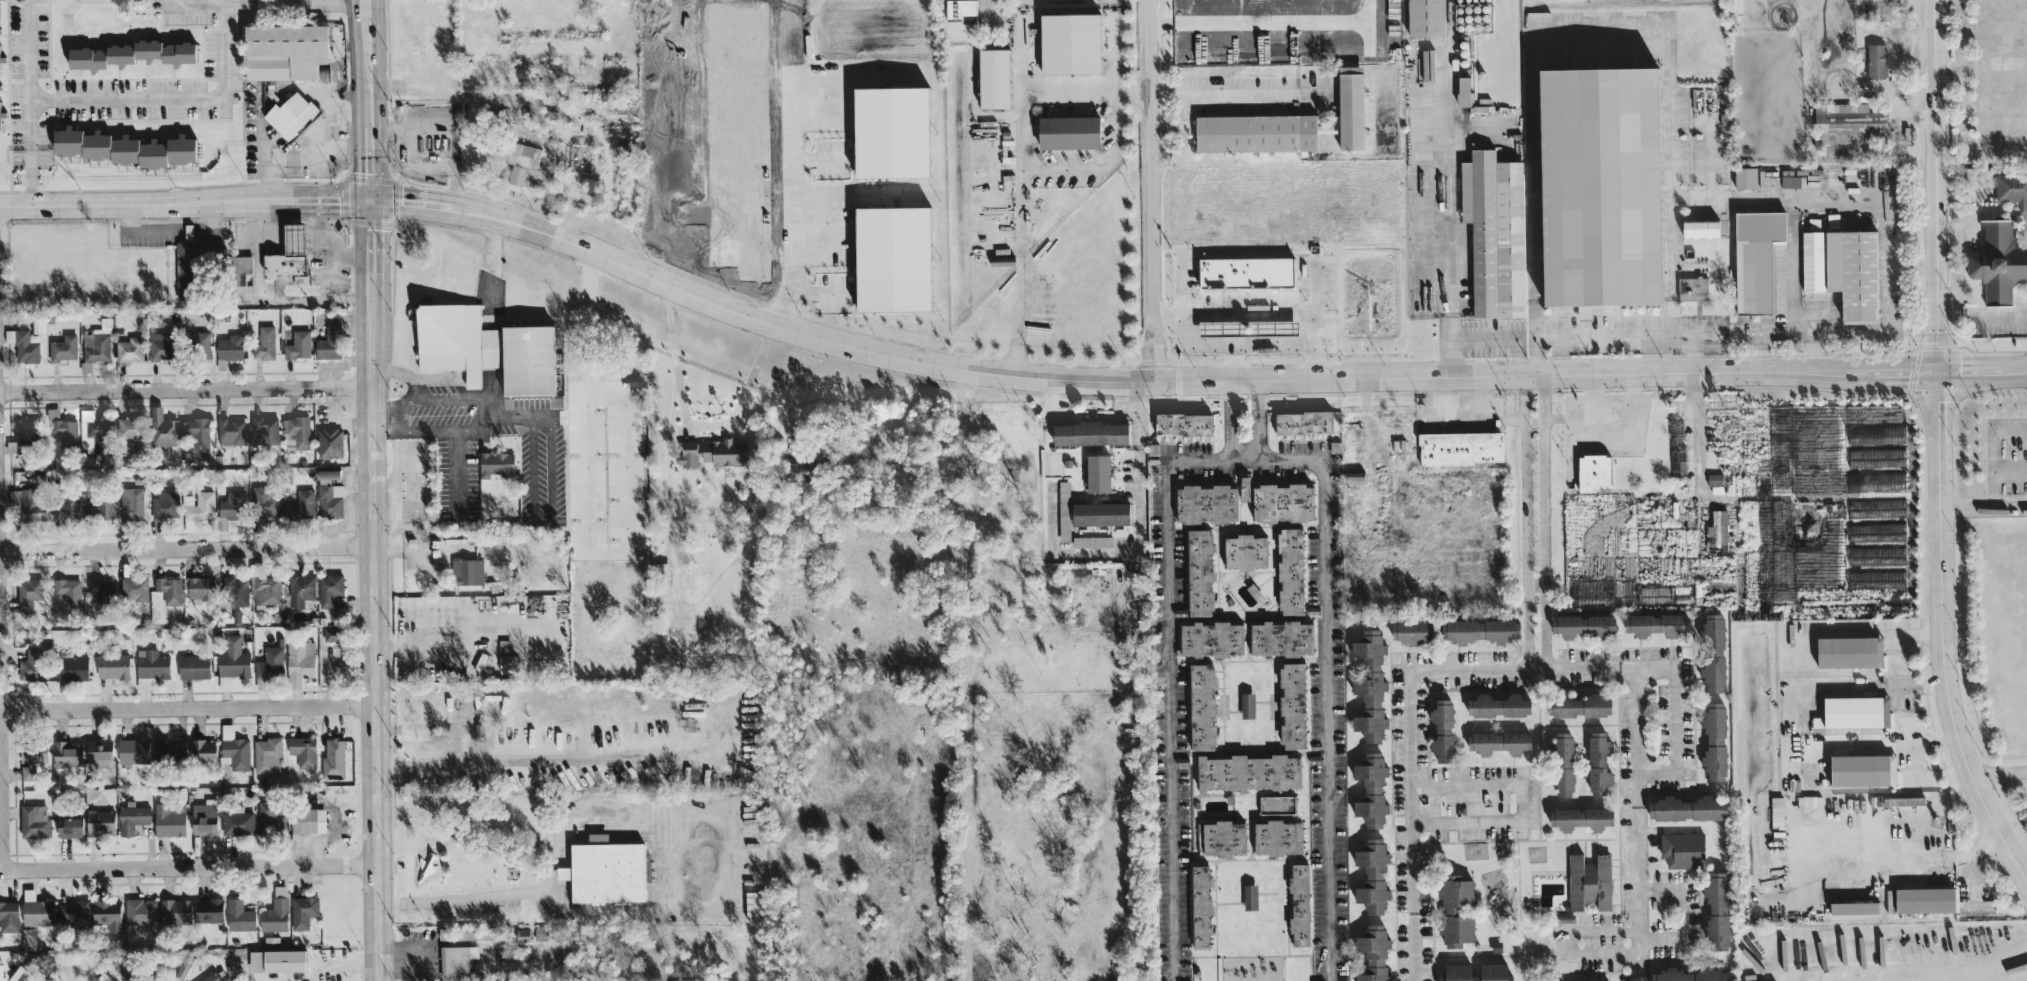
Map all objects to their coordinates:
building: (120, 2)
building: (1735, 7)
building: (959, 8)
building: (1880, 8)
road: (256, 9)
building: (1425, 17)
road: (1602, 34)
road: (1960, 34)
building: (1069, 42)
building: (283, 50)
building: (130, 53)
road: (354, 53)
road: (377, 53)
building: (1876, 60)
road: (1981, 67)
building: (0, 70)
building: (993, 77)
building: (1464, 90)
road: (1072, 93)
road: (1231, 94)
road: (1022, 98)
road: (29, 101)
road: (172, 104)
road: (1995, 106)
building: (1351, 107)
building: (291, 115)
road: (367, 115)
building: (1848, 123)
road: (317, 130)
building: (890, 131)
building: (1067, 131)
building: (1255, 132)
road: (1997, 145)
building: (122, 147)
road: (1968, 147)
building: (520, 160)
road: (265, 161)
road: (368, 162)
road: (1105, 166)
building: (1745, 176)
road: (1937, 184)
building: (1599, 185)
building: (2012, 188)
road: (1151, 190)
road: (324, 199)
traffic signals: (369, 199)
road: (140, 201)
road: (409, 202)
road: (792, 204)
road: (1821, 204)
building: (1700, 228)
road: (140, 230)
building: (1495, 231)
road: (369, 235)
road: (326, 241)
building: (289, 255)
building: (891, 258)
building: (1756, 258)
building: (1812, 260)
road: (492, 263)
building: (1998, 263)
building: (238, 269)
road: (322, 269)
building: (1244, 271)
building: (1853, 271)
building: (1692, 287)
road: (266, 295)
road: (1263, 315)
road: (1998, 315)
building: (38, 325)
road: (1484, 331)
road: (1821, 333)
road: (1616, 334)
building: (96, 342)
building: (199, 343)
building: (264, 343)
building: (328, 343)
building: (22, 345)
building: (159, 345)
building: (298, 345)
building: (229, 347)
building: (63, 348)
building: (484, 348)
building: (128, 349)
road: (402, 372)
road: (1224, 380)
road: (589, 381)
road: (1440, 382)
road: (185, 386)
road: (790, 391)
road: (490, 413)
road: (380, 416)
road: (1229, 418)
road: (1257, 418)
building: (1302, 421)
road: (725, 423)
building: (1183, 423)
road: (1704, 427)
building: (61, 428)
building: (128, 428)
building: (162, 428)
building: (230, 430)
building: (263, 430)
building: (196, 431)
building: (91, 432)
building: (296, 433)
building: (1089, 433)
building: (24, 434)
building: (329, 441)
building: (1460, 448)
building: (723, 451)
road: (1993, 452)
building: (686, 454)
road: (661, 458)
building: (495, 463)
road: (458, 466)
building: (791, 467)
building: (1593, 470)
building: (1097, 473)
building: (1244, 488)
road: (1994, 490)
building: (329, 494)
building: (1281, 501)
building: (265, 502)
building: (131, 503)
building: (1205, 503)
building: (27, 504)
building: (164, 505)
building: (232, 505)
building: (301, 505)
road: (2010, 505)
road: (1968, 506)
building: (66, 507)
building: (100, 508)
building: (197, 508)
building: (1063, 510)
building: (1099, 513)
road: (1539, 522)
road: (1139, 532)
building: (1716, 534)
road: (626, 541)
building: (1091, 541)
road: (186, 546)
building: (1244, 551)
building: (1290, 570)
building: (467, 571)
building: (1199, 572)
building: (661, 574)
building: (99, 588)
building: (134, 588)
building: (198, 588)
building: (68, 589)
building: (169, 589)
building: (329, 589)
building: (236, 590)
building: (266, 590)
building: (301, 590)
building: (29, 595)
building: (1657, 624)
building: (1583, 625)
road: (374, 626)
building: (1480, 630)
building: (1411, 631)
road: (1944, 632)
building: (330, 634)
building: (1280, 638)
building: (1211, 639)
building: (1713, 652)
building: (1849, 652)
building: (233, 658)
building: (507, 662)
building: (31, 663)
building: (112, 665)
building: (269, 665)
building: (71, 666)
building: (151, 666)
building: (193, 666)
road: (1549, 670)
road: (1332, 671)
road: (965, 674)
building: (224, 682)
building: (1369, 685)
road: (1169, 686)
road: (1868, 686)
building: (1247, 704)
building: (1292, 705)
building: (1498, 705)
road: (188, 706)
building: (1201, 706)
building: (1578, 706)
building: (1854, 712)
building: (1442, 730)
road: (1686, 741)
building: (1714, 741)
building: (1499, 742)
road: (1881, 743)
building: (234, 748)
building: (98, 749)
building: (203, 749)
building: (132, 750)
building: (161, 750)
building: (303, 750)
building: (32, 752)
building: (66, 753)
building: (267, 755)
building: (333, 758)
building: (1598, 762)
road: (548, 763)
building: (1562, 763)
building: (1862, 769)
road: (1998, 771)
building: (26, 772)
building: (1248, 772)
building: (1371, 789)
building: (1903, 801)
road: (1518, 802)
building: (1276, 804)
building: (1688, 808)
building: (270, 816)
building: (1581, 818)
building: (131, 819)
building: (204, 819)
building: (307, 820)
building: (34, 821)
building: (169, 821)
building: (99, 822)
building: (238, 823)
road: (1643, 824)
building: (68, 827)
road: (1418, 828)
building: (1277, 837)
building: (1221, 838)
building: (1682, 849)
road: (1902, 859)
road: (668, 866)
road: (189, 867)
building: (604, 870)
building: (1372, 876)
building: (1589, 881)
building: (1249, 896)
building: (1925, 900)
building: (1298, 904)
building: (752, 905)
building: (1200, 906)
building: (1854, 907)
building: (35, 909)
road: (745, 909)
building: (208, 910)
building: (1716, 910)
building: (141, 911)
building: (175, 911)
building: (303, 911)
building: (1455, 911)
building: (72, 914)
building: (107, 914)
building: (239, 915)
building: (274, 915)
building: (8, 916)
road: (1636, 932)
building: (521, 934)
building: (28, 937)
building: (1373, 953)
building: (283, 960)
building: (454, 962)
road: (2015, 962)
building: (182, 968)
building: (1457, 969)
building: (0, 971)
building: (19, 974)
building: (1690, 975)
building: (212, 977)

